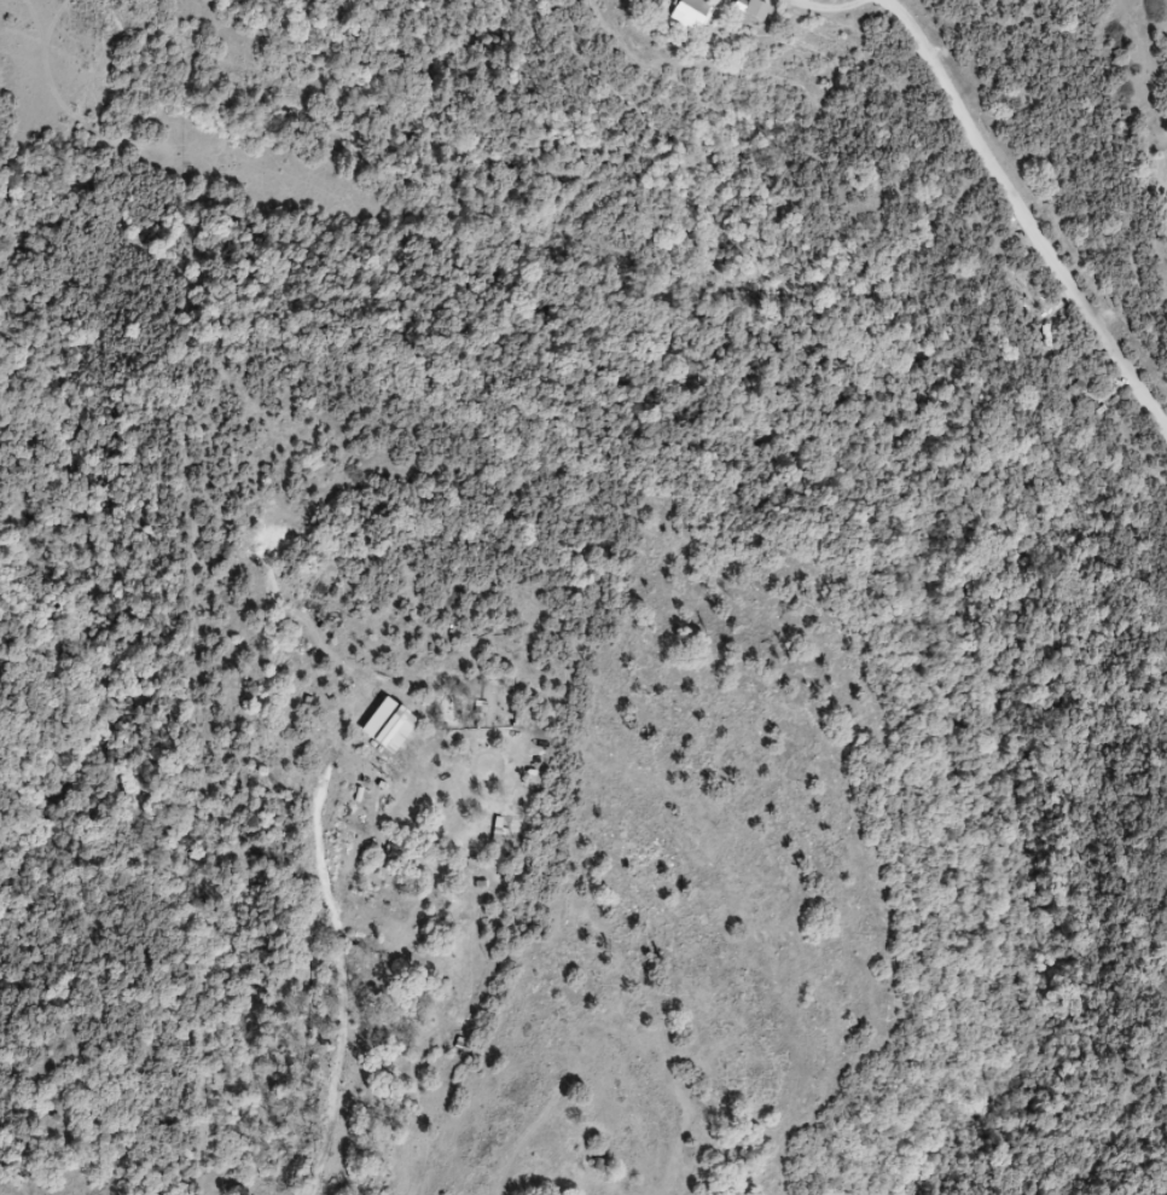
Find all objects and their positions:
building: (756, 8)
building: (695, 14)
road: (1026, 208)
building: (602, 1167)

